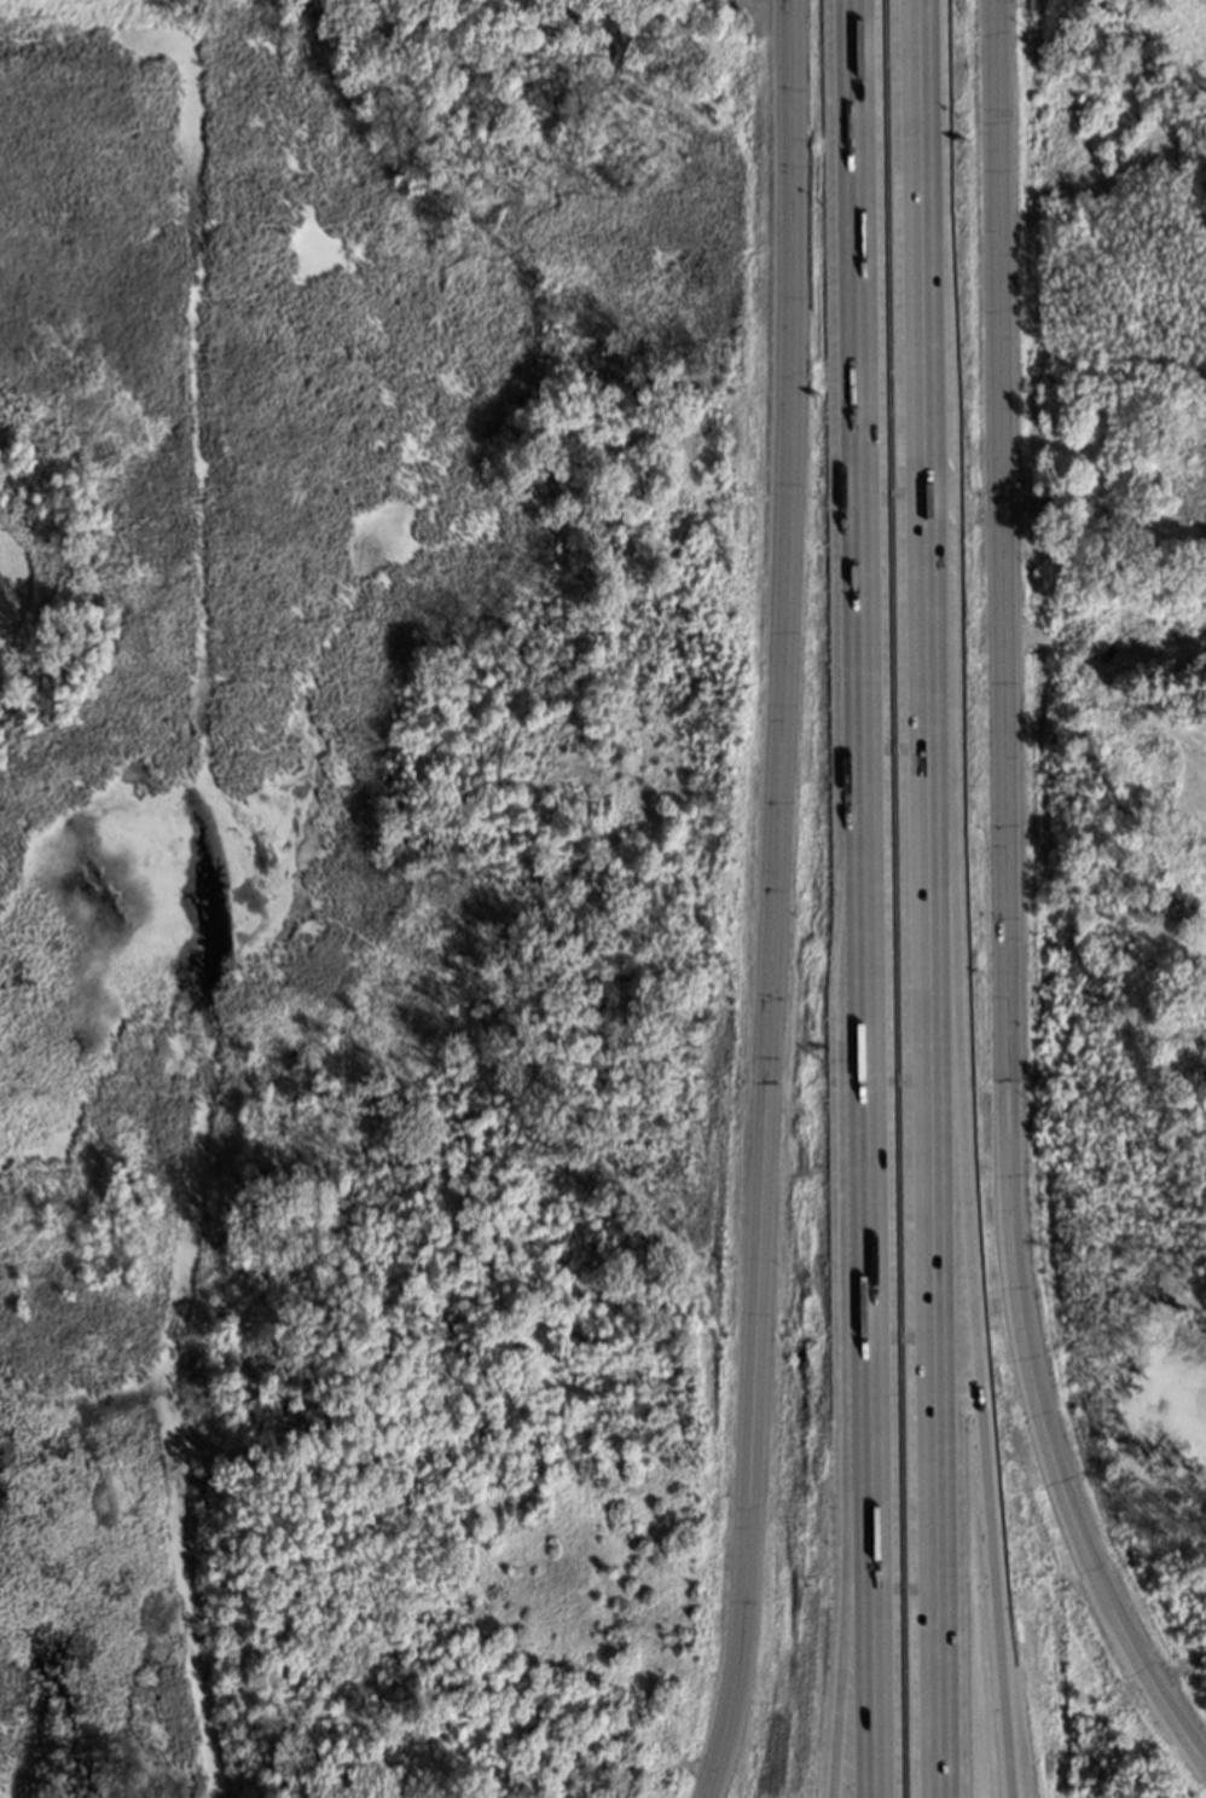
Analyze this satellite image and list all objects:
road: (860, 444)
building: (1119, 515)
road: (1003, 640)
building: (1205, 725)
road: (933, 898)
road: (770, 901)
road: (868, 1105)
road: (973, 1264)
road: (1067, 1495)
road: (852, 1560)
road: (871, 1560)
road: (1184, 1722)
road: (1183, 1741)

